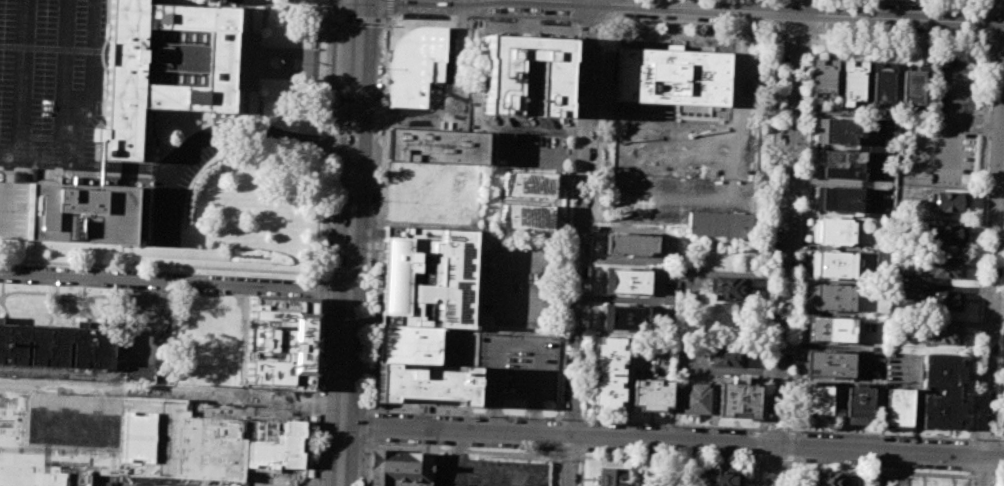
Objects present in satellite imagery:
road: (389, 10)
road: (576, 10)
road: (607, 10)
road: (775, 12)
road: (777, 15)
road: (813, 16)
road: (333, 17)
street lamp: (416, 17)
road: (362, 18)
road: (482, 23)
road: (608, 25)
road: (589, 29)
road: (691, 34)
road: (776, 34)
road: (813, 36)
road: (794, 39)
road: (900, 44)
road: (999, 50)
road: (252, 51)
road: (288, 53)
road: (251, 61)
flagpole: (281, 63)
road: (246, 64)
road: (313, 64)
building: (415, 64)
road: (327, 65)
building: (165, 66)
road: (741, 68)
road: (251, 70)
road: (287, 72)
building: (526, 75)
building: (672, 76)
building: (823, 78)
road: (21, 80)
building: (853, 80)
road: (63, 81)
building: (883, 81)
parking lot: (53, 84)
building: (912, 87)
parking lot: (957, 87)
road: (451, 108)
road: (897, 114)
road: (679, 121)
road: (257, 130)
building: (837, 131)
road: (327, 140)
building: (436, 146)
parking lot: (526, 150)
parking lot: (689, 152)
parking lot: (939, 153)
road: (677, 154)
road: (86, 163)
building: (839, 164)
parking lot: (180, 179)
building: (530, 183)
road: (734, 191)
road: (677, 199)
building: (837, 199)
building: (950, 201)
road: (162, 203)
building: (67, 213)
road: (348, 213)
building: (527, 216)
road: (567, 220)
road: (788, 223)
road: (593, 225)
building: (720, 225)
building: (834, 231)
road: (770, 234)
building: (946, 234)
road: (582, 243)
building: (630, 243)
road: (500, 259)
building: (882, 261)
building: (832, 265)
building: (944, 267)
building: (428, 277)
road: (993, 279)
building: (626, 281)
road: (172, 282)
parking lot: (524, 283)
road: (321, 289)
building: (730, 289)
traffic signals: (345, 292)
building: (831, 296)
building: (943, 301)
road: (323, 310)
road: (346, 310)
road: (370, 311)
road: (375, 311)
building: (624, 318)
building: (829, 329)
building: (943, 334)
building: (278, 342)
building: (427, 344)
building: (56, 345)
building: (727, 356)
building: (828, 364)
parking lot: (515, 371)
building: (608, 373)
building: (139, 374)
building: (425, 382)
road: (1001, 385)
road: (313, 391)
building: (942, 391)
building: (651, 394)
road: (199, 396)
building: (693, 398)
building: (738, 398)
building: (810, 402)
building: (823, 403)
building: (852, 404)
building: (865, 404)
road: (323, 407)
building: (898, 407)
road: (370, 408)
road: (571, 419)
road: (674, 424)
road: (369, 425)
road: (776, 429)
road: (790, 430)
road: (792, 431)
road: (558, 435)
road: (881, 435)
road: (975, 436)
road: (584, 437)
road: (985, 437)
building: (126, 438)
road: (998, 438)
road: (972, 439)
road: (671, 442)
road: (761, 446)
road: (791, 447)
road: (461, 451)
parking lot: (278, 452)
road: (337, 456)
road: (570, 456)
road: (972, 456)
road: (997, 457)
road: (456, 459)
road: (671, 462)
road: (366, 466)
road: (774, 466)
road: (777, 466)
building: (400, 468)
road: (557, 468)
road: (582, 469)
road: (880, 471)
parking lot: (486, 472)
road: (759, 474)
road: (789, 474)
building: (722, 475)
road: (499, 476)
building: (613, 476)
road: (983, 477)
road: (970, 478)
road: (997, 478)
building: (826, 479)
road: (995, 479)

